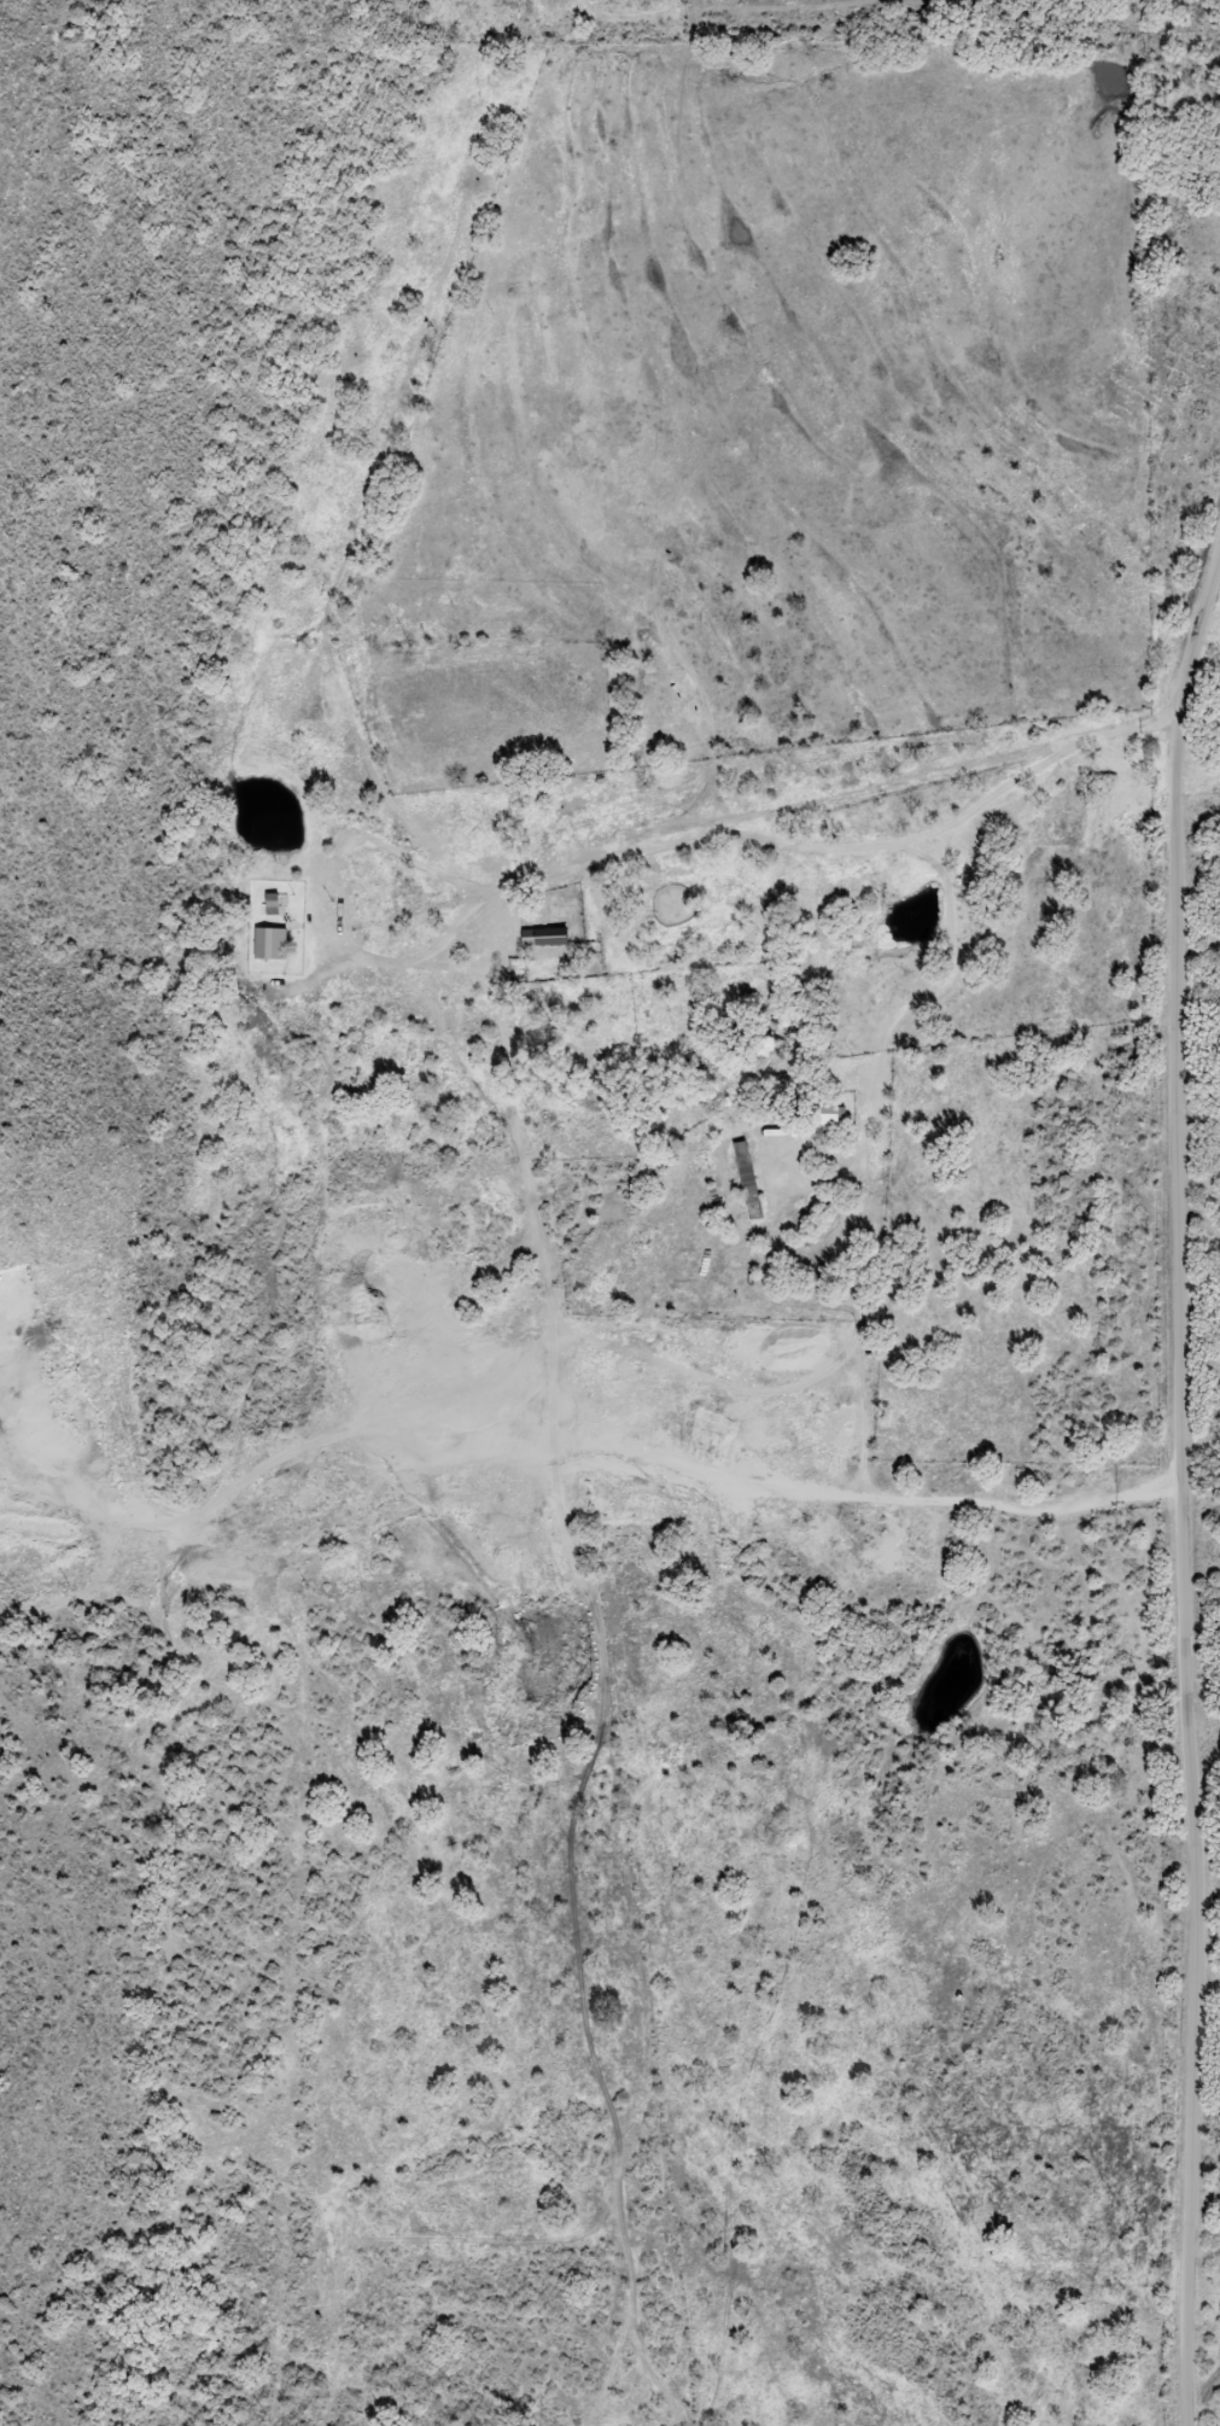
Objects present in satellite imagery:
park: (1183, 532)
building: (315, 855)
building: (269, 908)
building: (548, 938)
building: (263, 944)
road: (514, 1074)
building: (828, 1115)
building: (745, 1185)
road: (1180, 1485)

